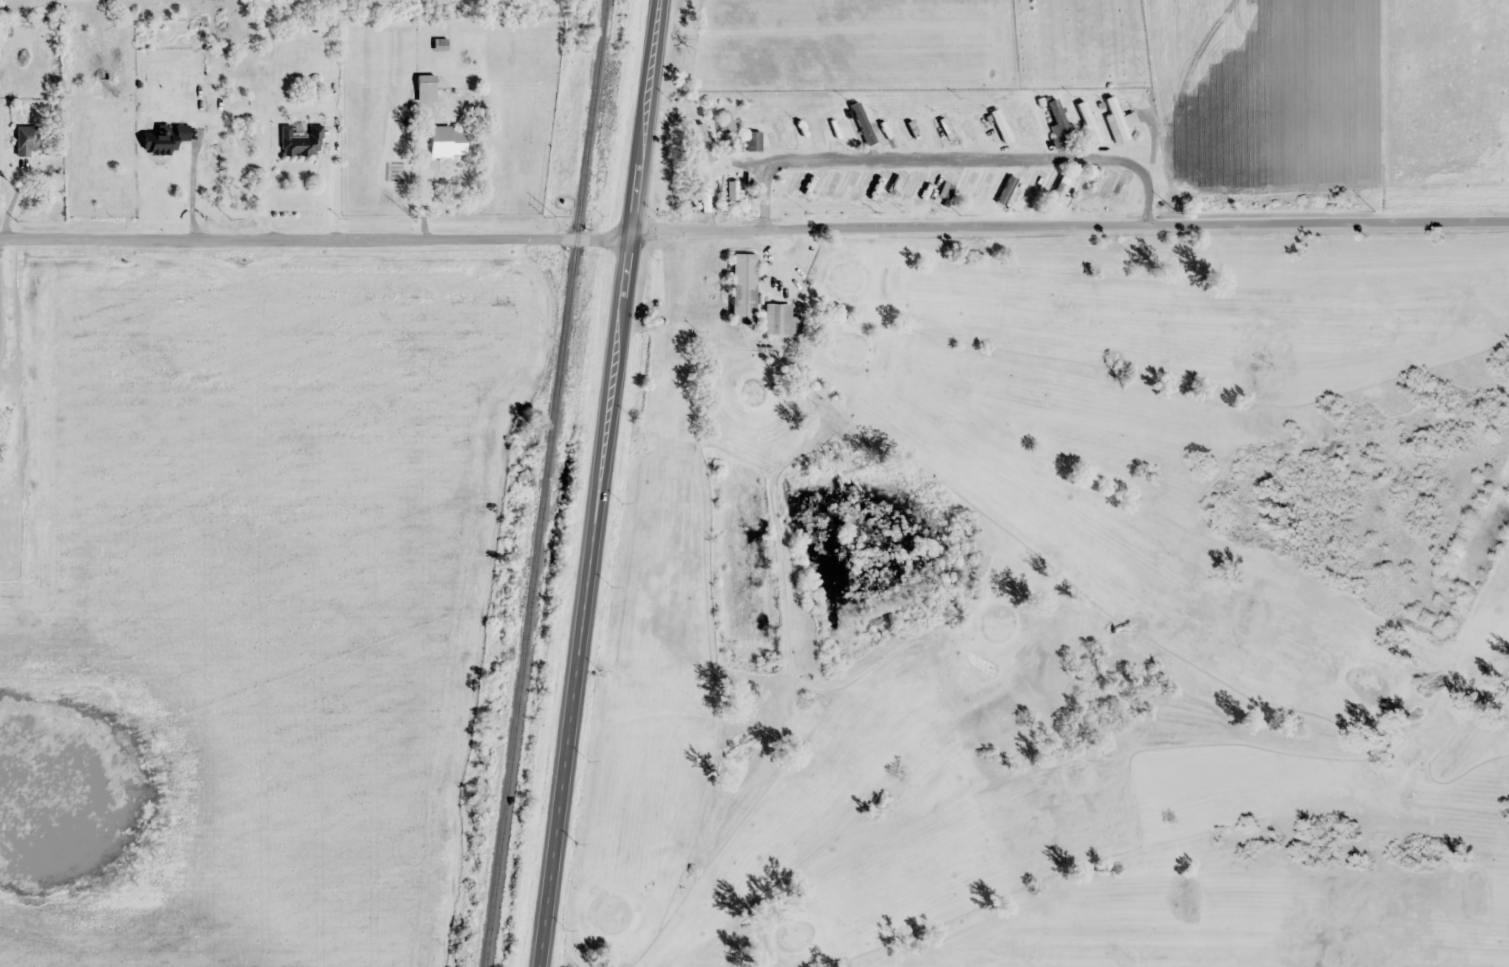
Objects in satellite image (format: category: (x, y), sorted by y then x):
building: (195, 24)
building: (424, 87)
building: (1025, 120)
building: (1056, 120)
building: (1116, 120)
building: (913, 124)
building: (829, 126)
building: (998, 126)
building: (884, 127)
building: (776, 129)
building: (799, 129)
building: (729, 131)
building: (164, 138)
building: (26, 140)
building: (752, 140)
building: (299, 141)
building: (445, 141)
building: (701, 142)
road: (982, 163)
building: (788, 184)
building: (976, 187)
building: (824, 188)
building: (1009, 188)
building: (1060, 189)
building: (1097, 191)
building: (1116, 191)
building: (890, 192)
building: (932, 192)
building: (702, 194)
road: (1341, 215)
road: (904, 221)
road: (318, 239)
building: (753, 298)
railway: (545, 483)
road: (604, 483)

